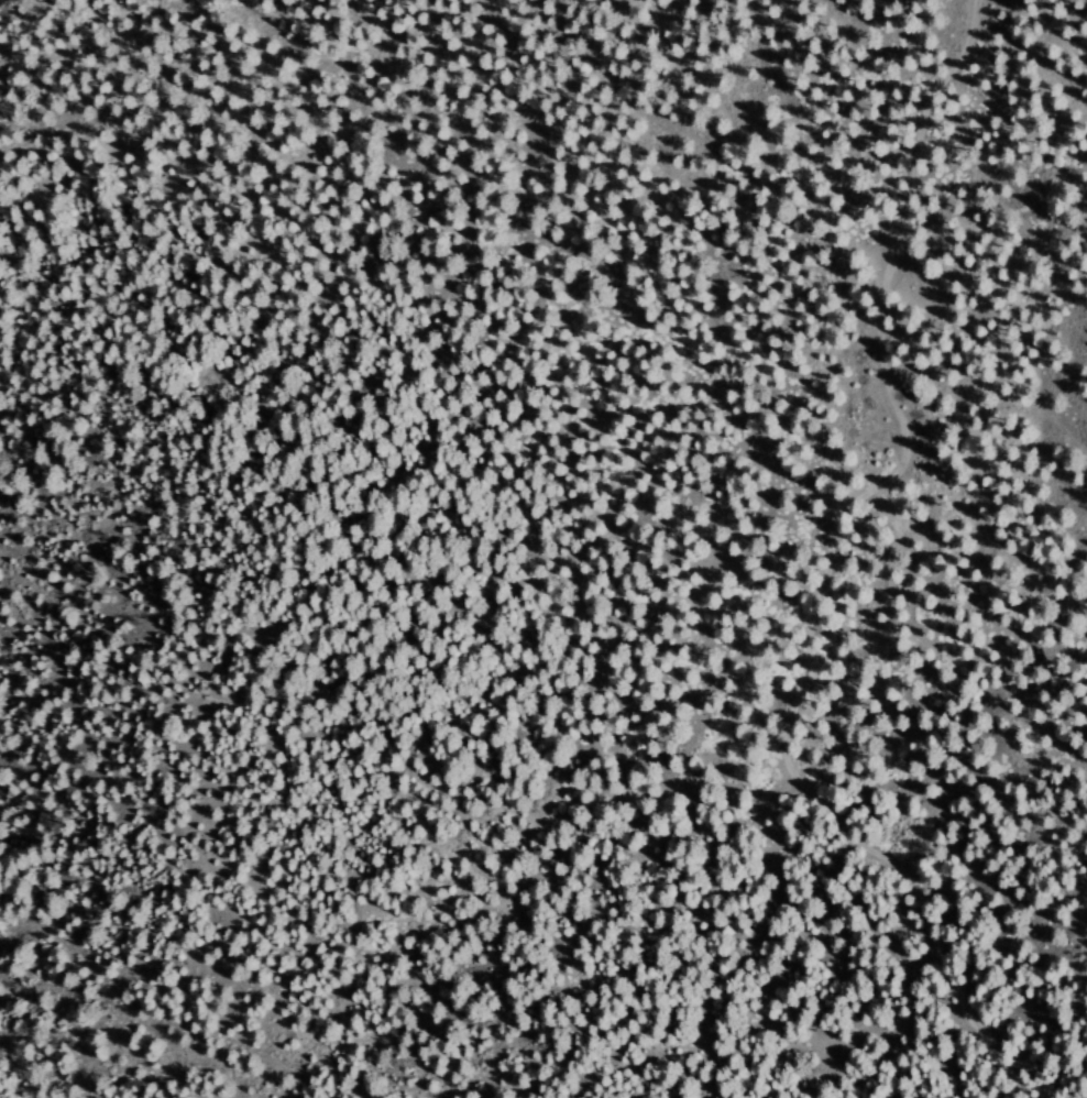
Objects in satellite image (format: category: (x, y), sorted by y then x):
road: (832, 575)

